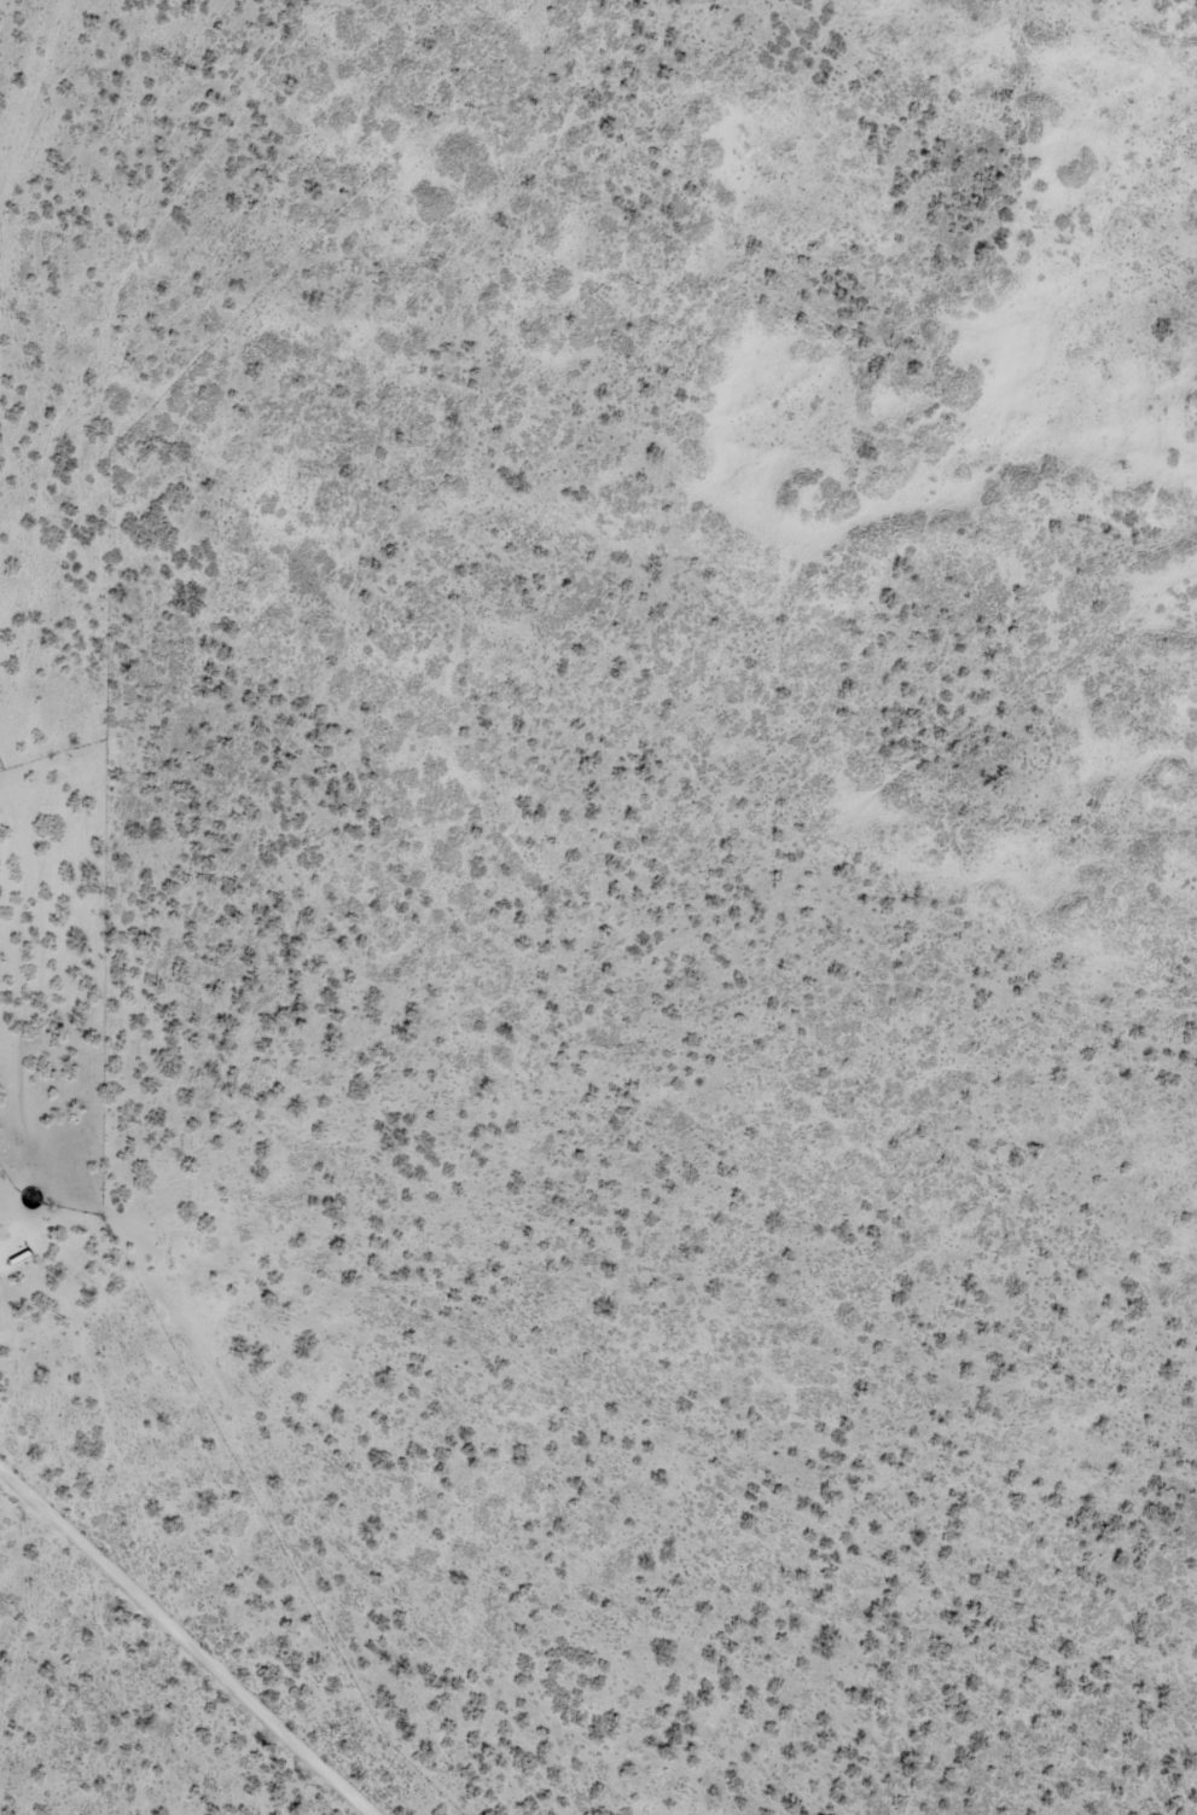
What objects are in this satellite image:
road: (186, 1641)

